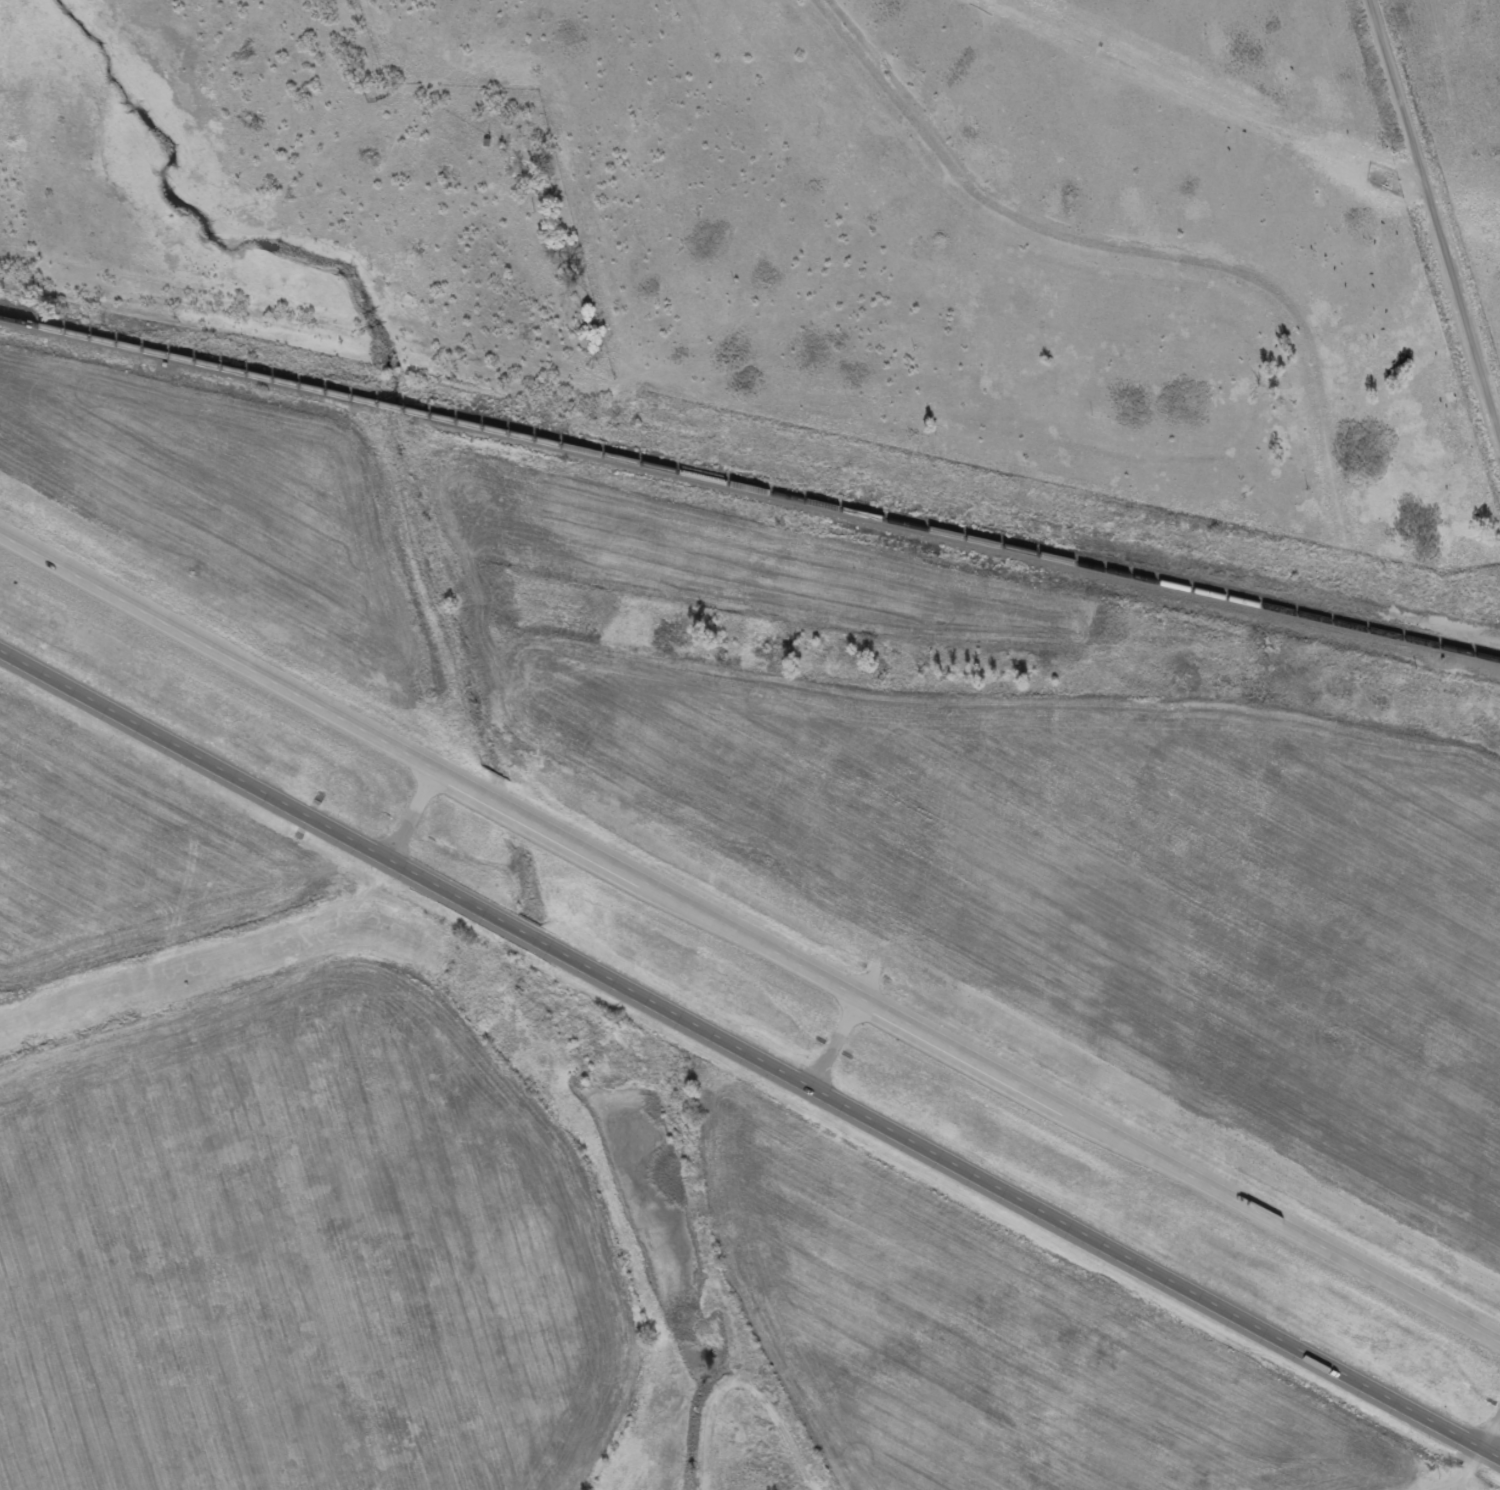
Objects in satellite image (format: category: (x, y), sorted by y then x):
road: (1434, 220)
road: (969, 443)
railway: (749, 488)
road: (749, 942)
road: (749, 1056)
road: (1473, 1455)

